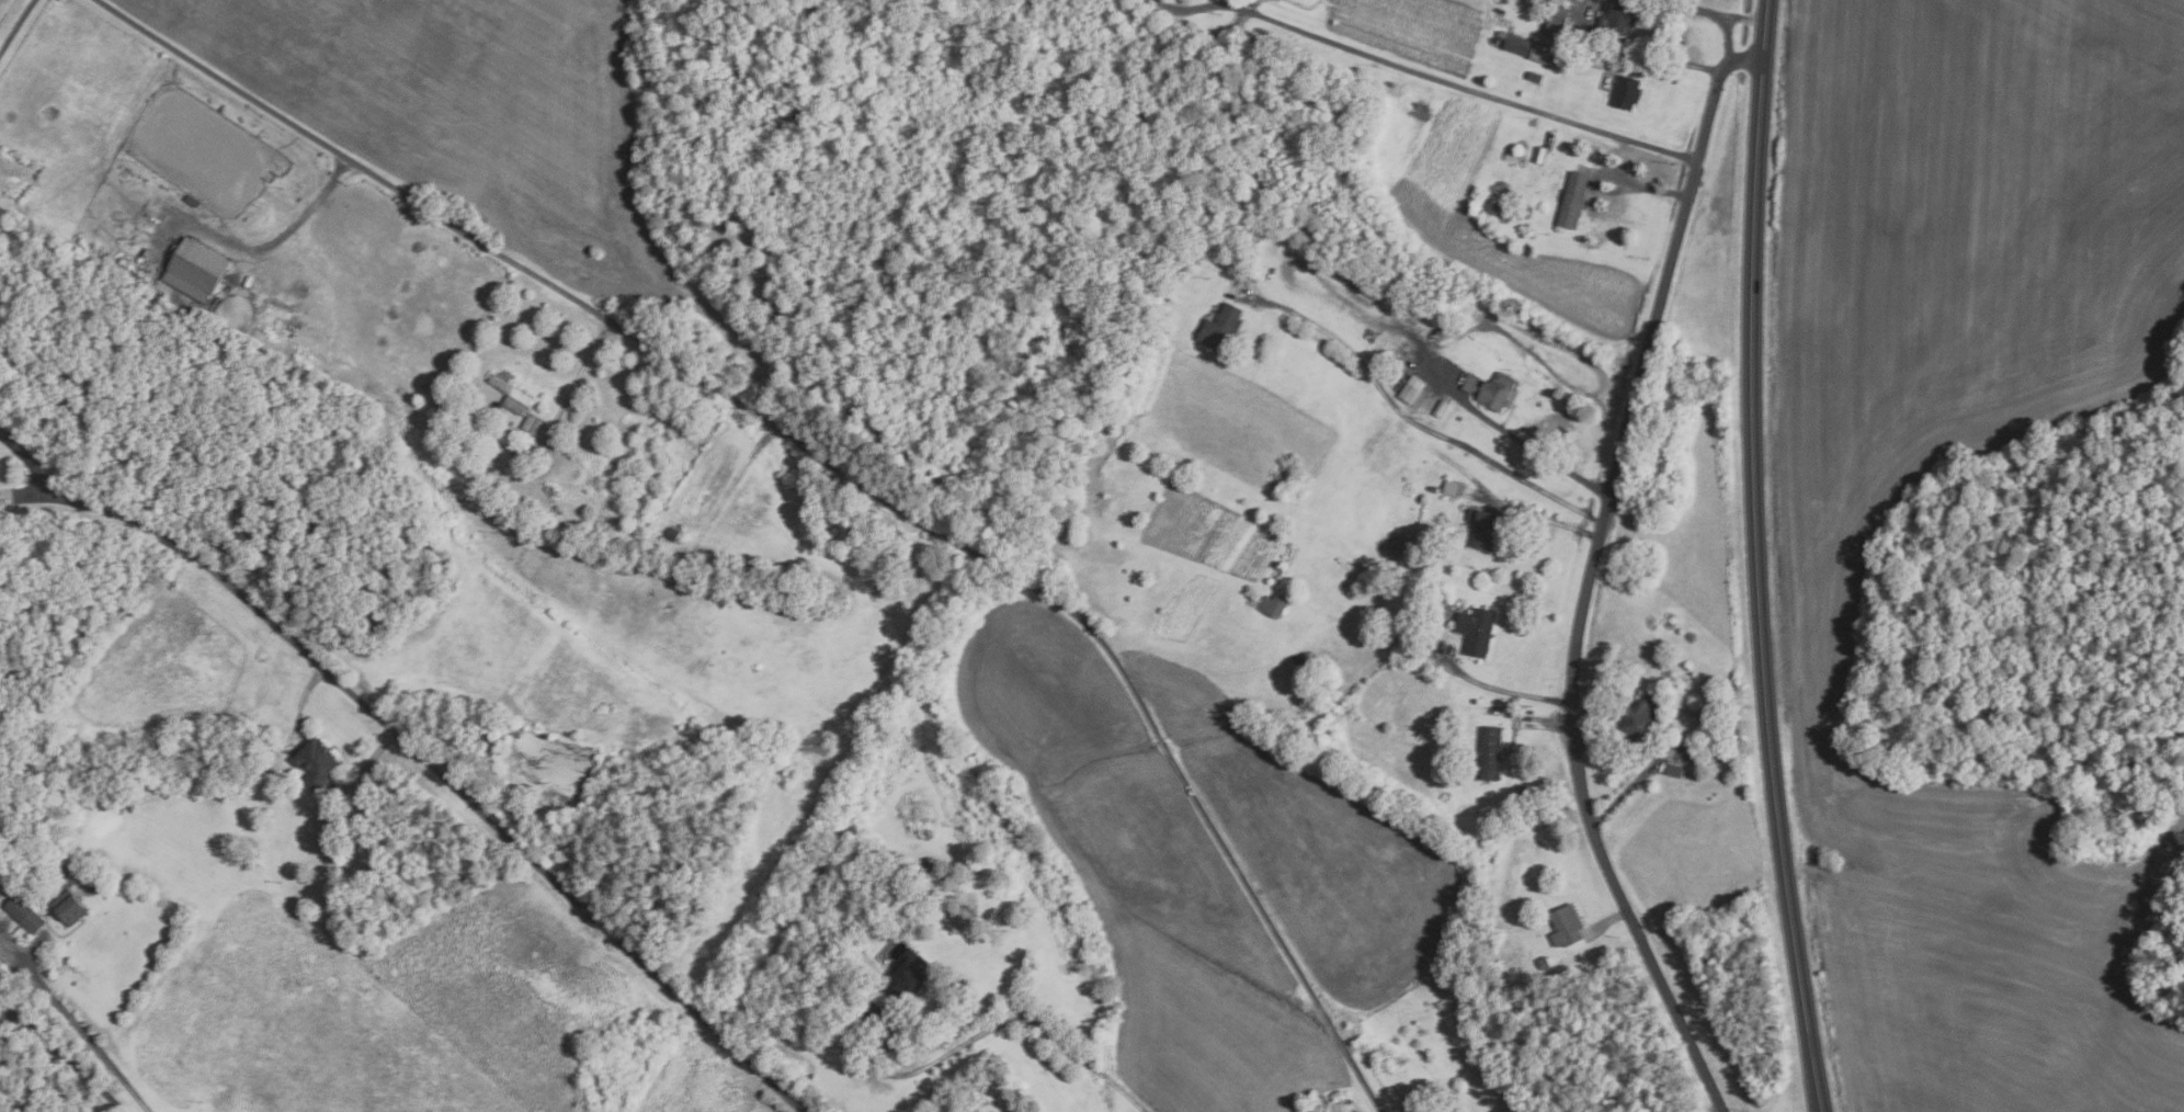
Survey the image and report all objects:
road: (1187, 4)
road: (1702, 11)
road: (1740, 16)
building: (1615, 19)
building: (1556, 20)
road: (14, 22)
building: (1524, 47)
road: (1665, 60)
building: (1597, 64)
building: (1534, 76)
road: (1461, 83)
building: (1626, 92)
building: (1539, 155)
road: (1645, 186)
building: (1572, 200)
building: (196, 201)
building: (177, 203)
building: (1505, 207)
building: (1524, 211)
road: (273, 245)
building: (200, 270)
building: (1220, 329)
road: (579, 375)
building: (1411, 389)
building: (1490, 390)
building: (510, 395)
building: (1441, 409)
road: (1412, 420)
building: (533, 424)
road: (1515, 439)
road: (832, 465)
building: (1451, 488)
building: (551, 489)
building: (1433, 489)
road: (727, 500)
road: (1533, 514)
building: (1481, 529)
building: (1402, 546)
road: (1758, 557)
road: (1589, 575)
building: (1351, 585)
crop: (1822, 600)
building: (1272, 605)
building: (657, 628)
building: (1475, 631)
building: (1300, 661)
road: (1499, 690)
building: (1474, 700)
building: (1640, 719)
road: (1543, 722)
road: (412, 748)
building: (1490, 751)
building: (316, 762)
building: (1446, 763)
building: (1673, 769)
road: (1629, 787)
building: (100, 796)
building: (924, 865)
building: (64, 869)
building: (73, 906)
building: (29, 914)
building: (962, 915)
road: (1605, 922)
building: (1566, 924)
road: (20, 956)
building: (1543, 962)
building: (908, 973)
road: (5, 1003)
road: (77, 1023)
road: (990, 1030)
road: (60, 1051)
road: (2, 1060)
building: (1447, 1099)
building: (1339, 1111)
building: (1353, 1111)

